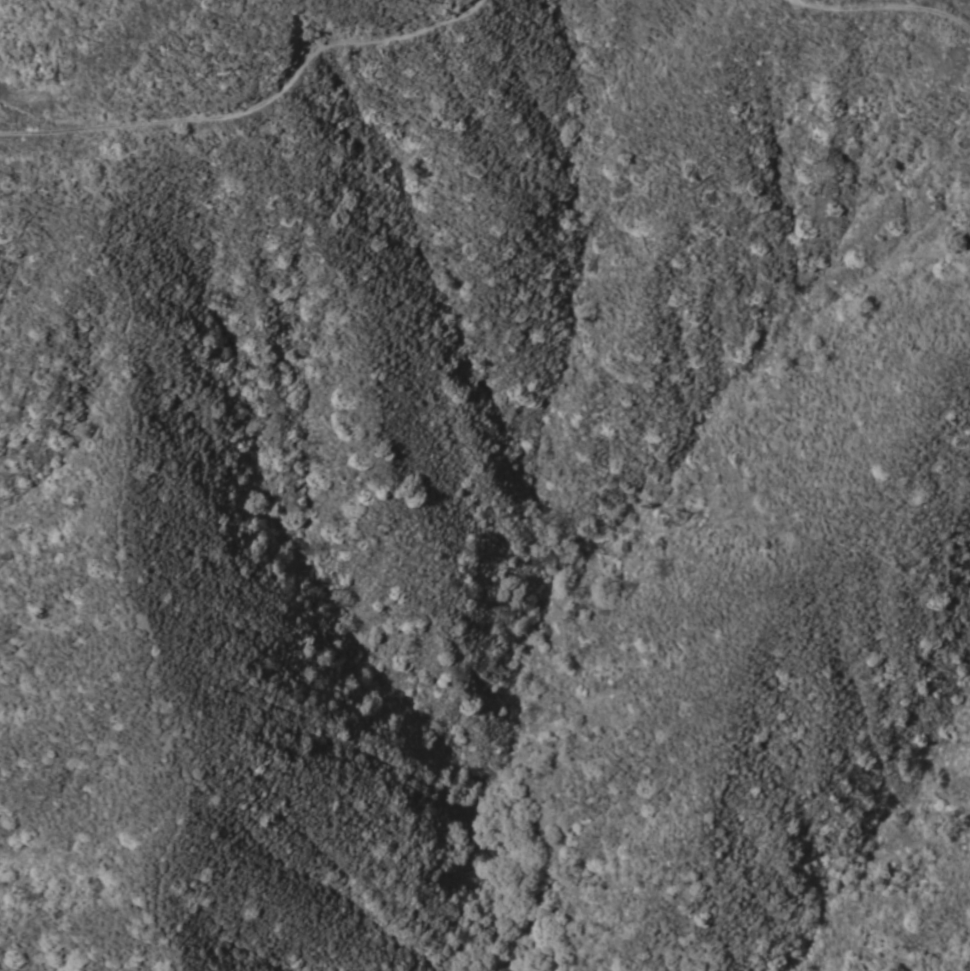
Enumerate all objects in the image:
road: (879, 12)
road: (270, 108)
park: (440, 833)

